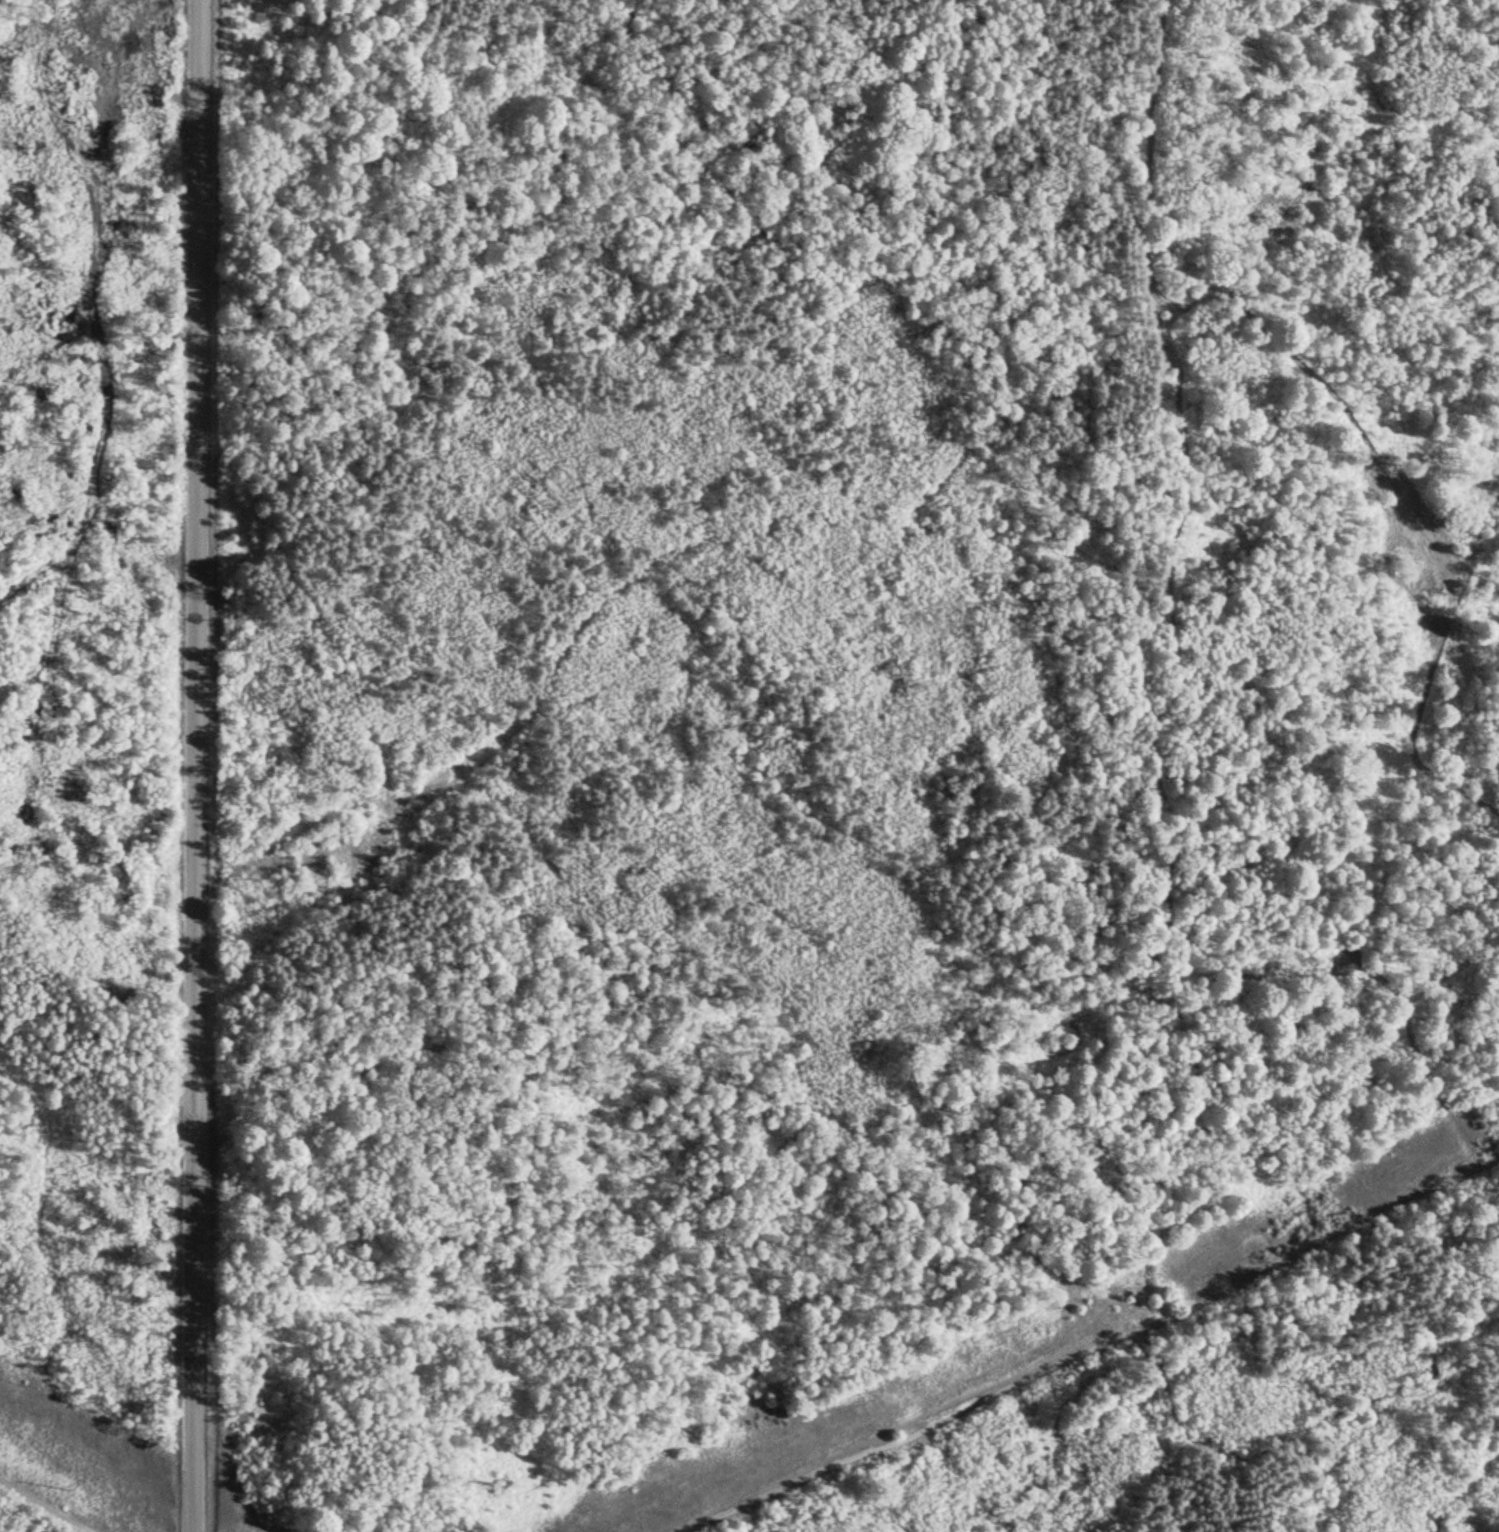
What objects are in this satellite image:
road: (195, 765)
road: (1325, 1241)
road: (1127, 1335)
road: (44, 1506)

